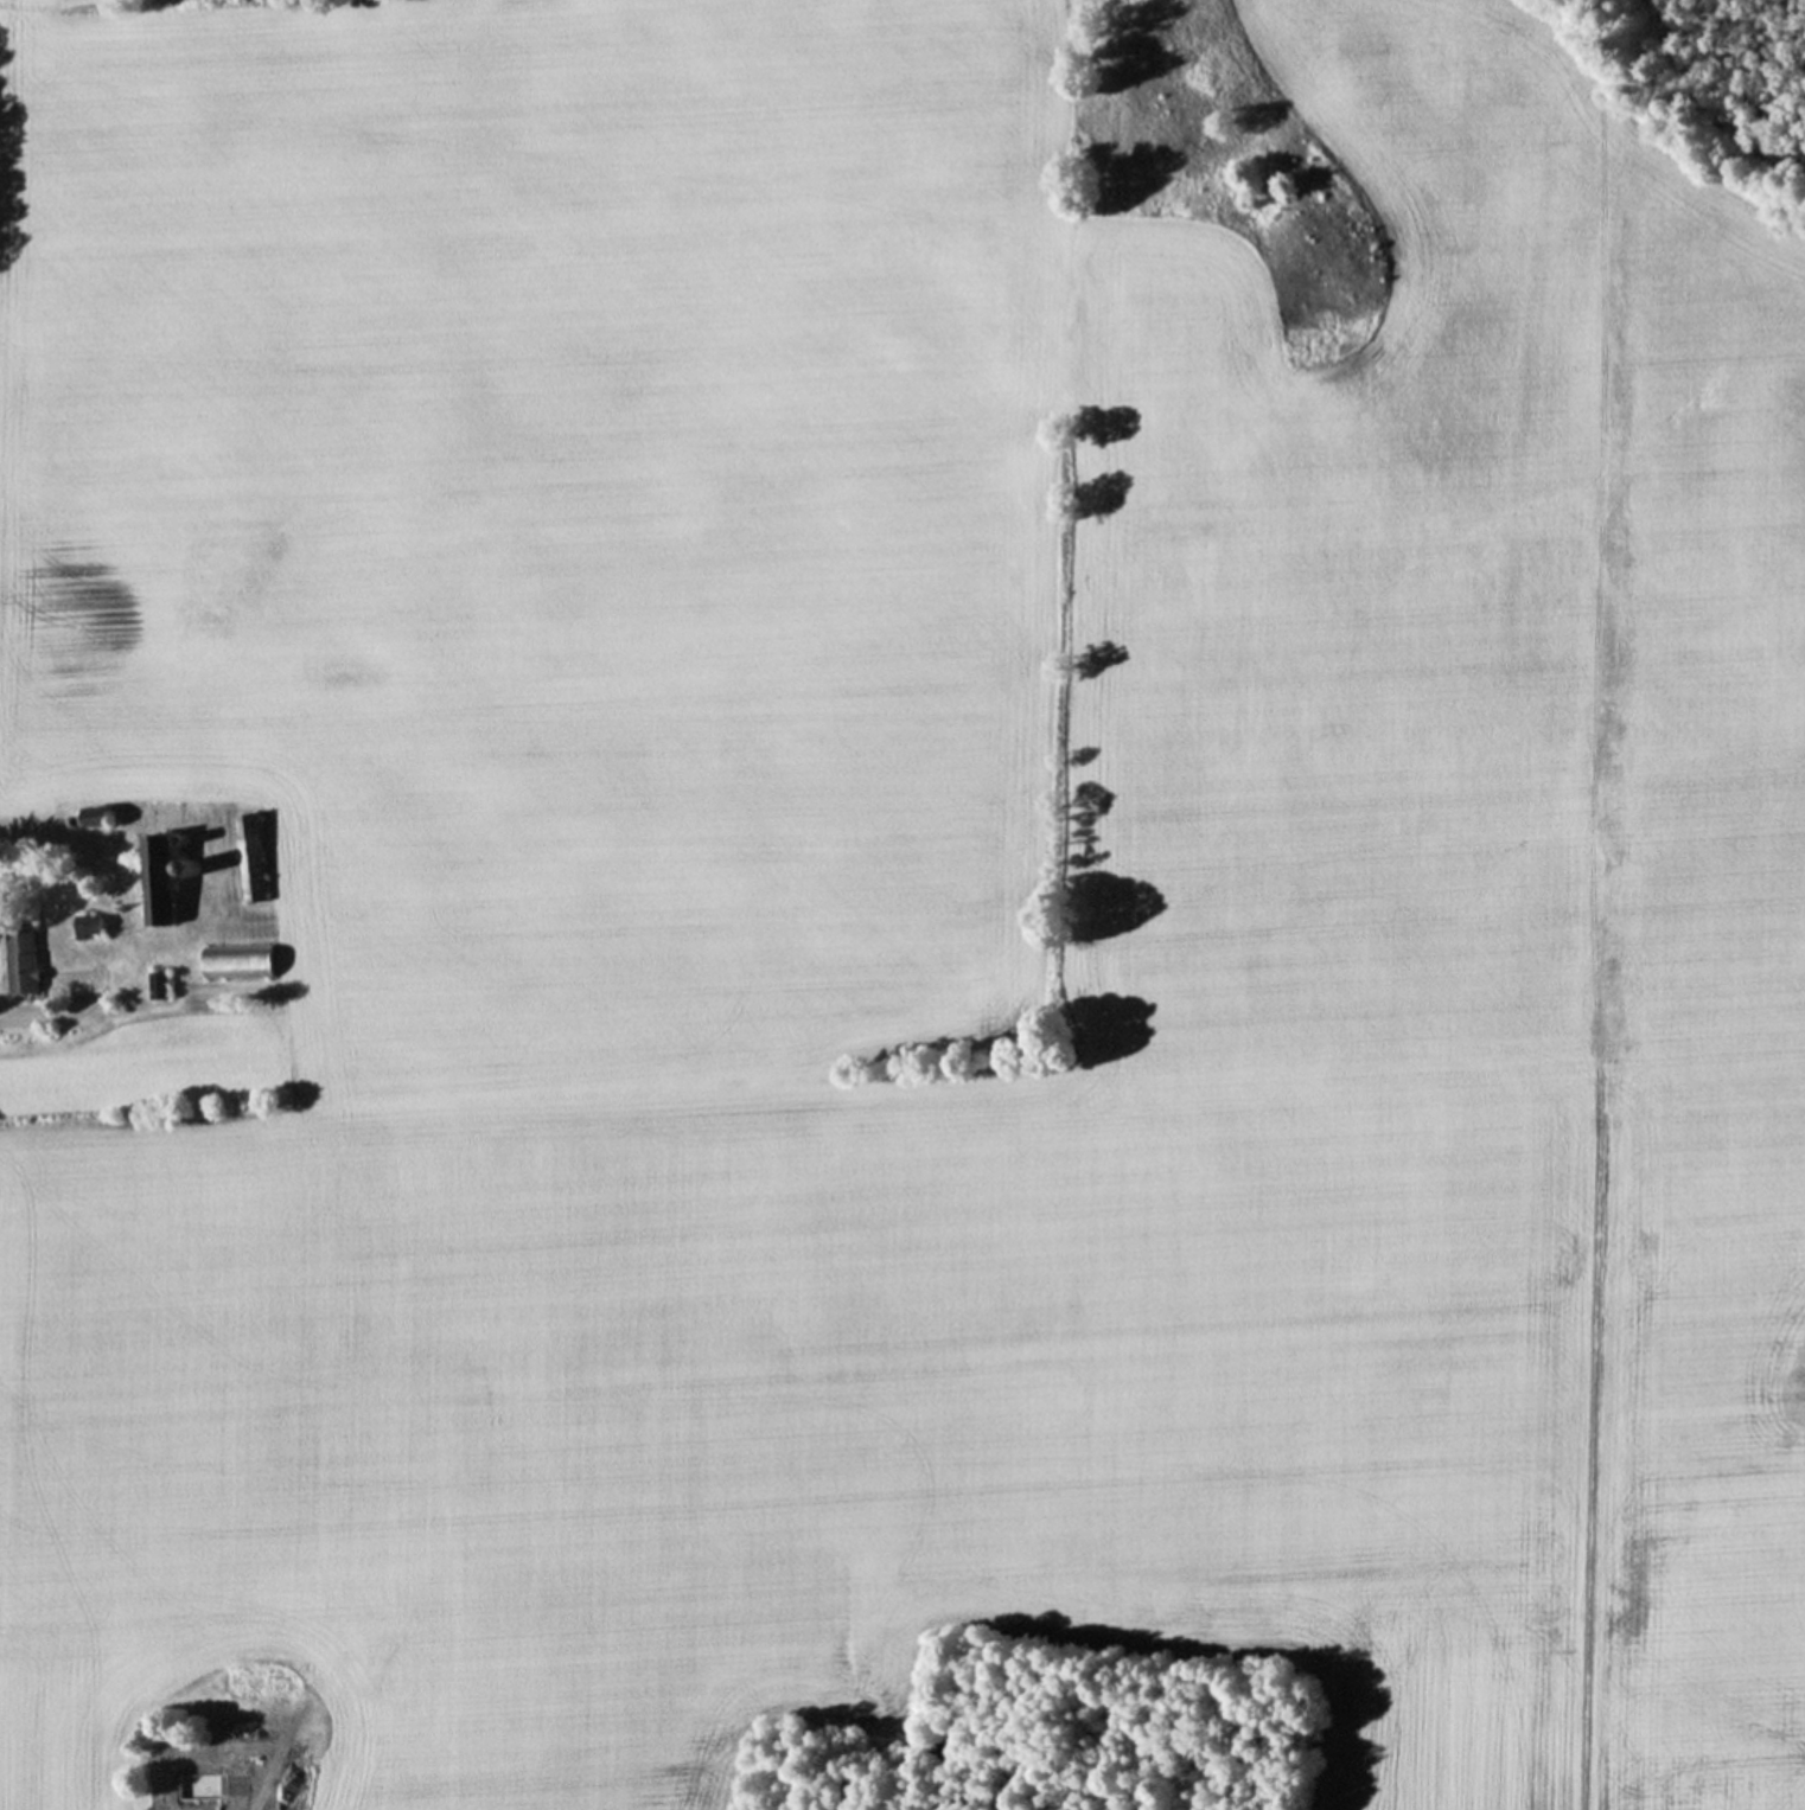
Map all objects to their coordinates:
building: (251, 836)
building: (160, 877)
building: (28, 960)
building: (244, 961)
road: (43, 1018)
building: (363, 1637)
building: (264, 1674)
building: (229, 1774)

